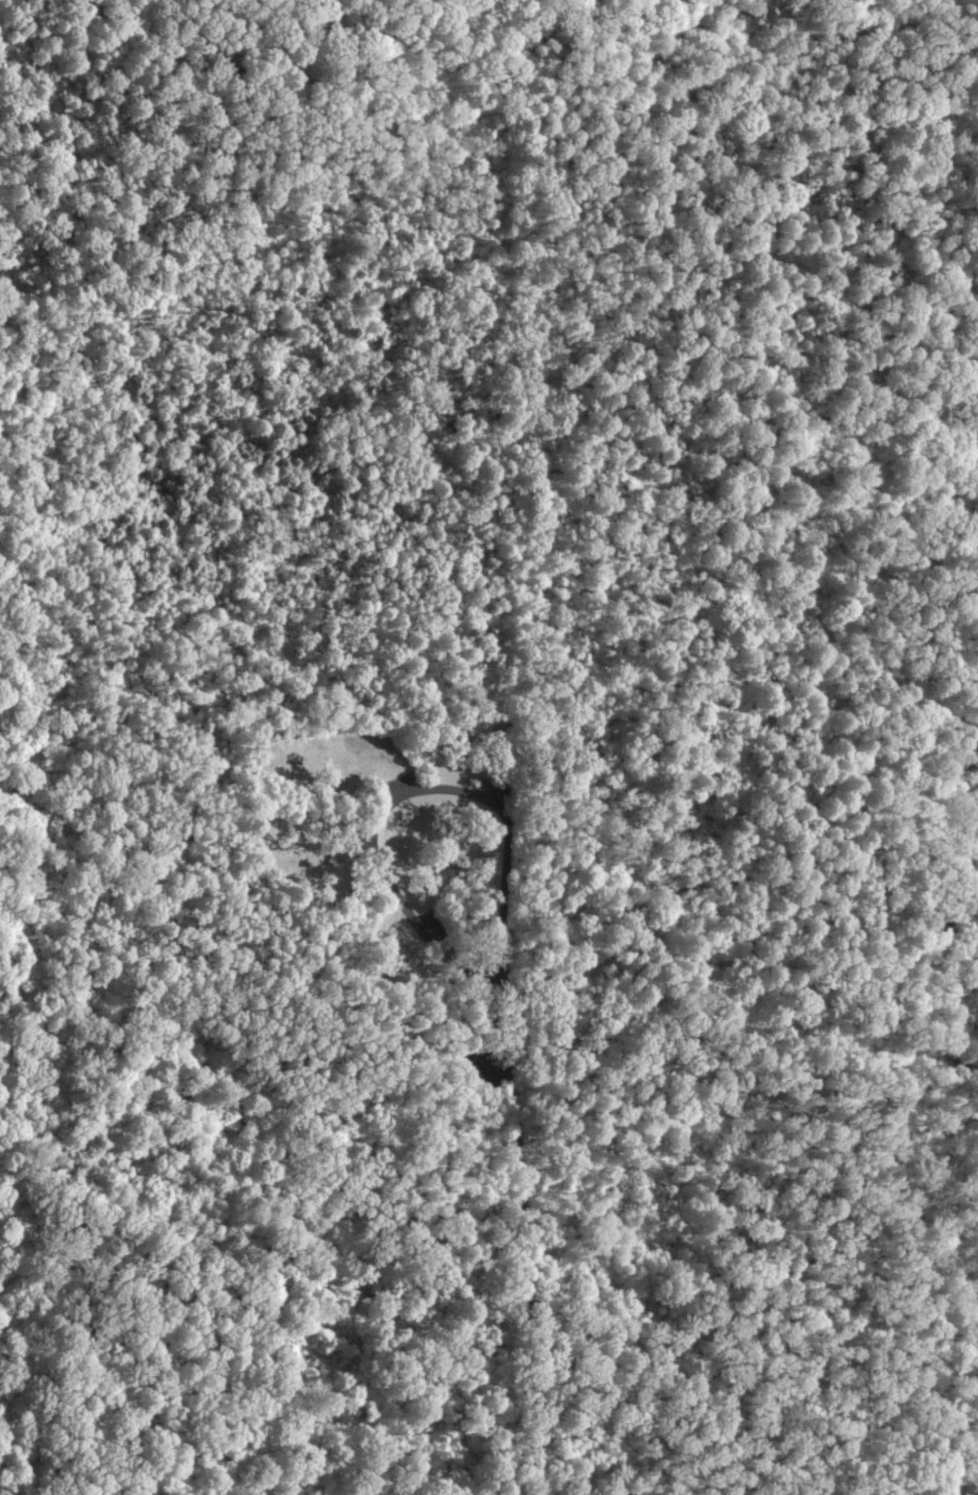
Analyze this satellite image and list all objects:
road: (683, 684)
road: (970, 772)
parking lot: (399, 781)
road: (403, 786)
parking lot: (488, 792)
parking lot: (365, 846)
parking lot: (424, 919)
road: (168, 968)
parking lot: (491, 1057)
road: (934, 1181)
road: (526, 1242)
road: (6, 1375)

